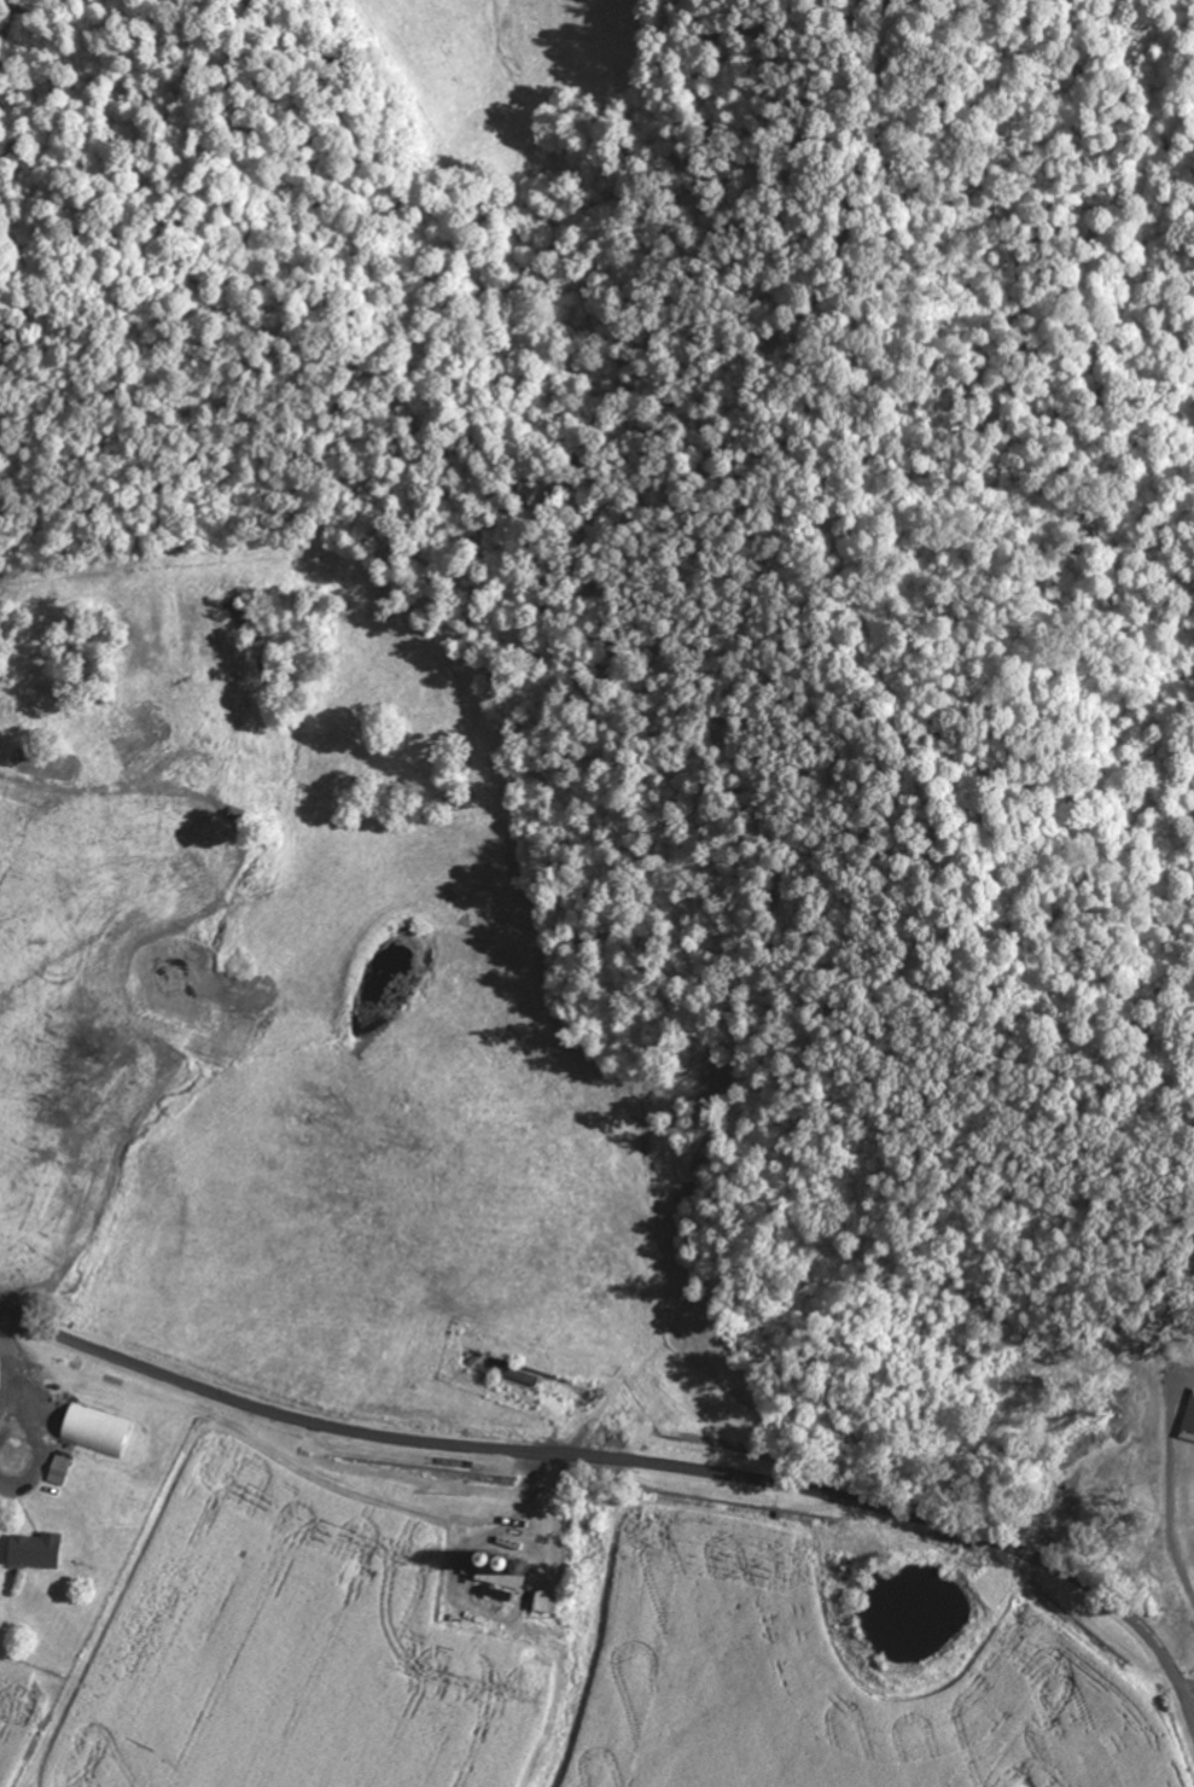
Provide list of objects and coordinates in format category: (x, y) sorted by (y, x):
building: (95, 1432)
road: (627, 1462)
building: (57, 1471)
building: (37, 1552)
building: (505, 1571)
building: (547, 1602)

